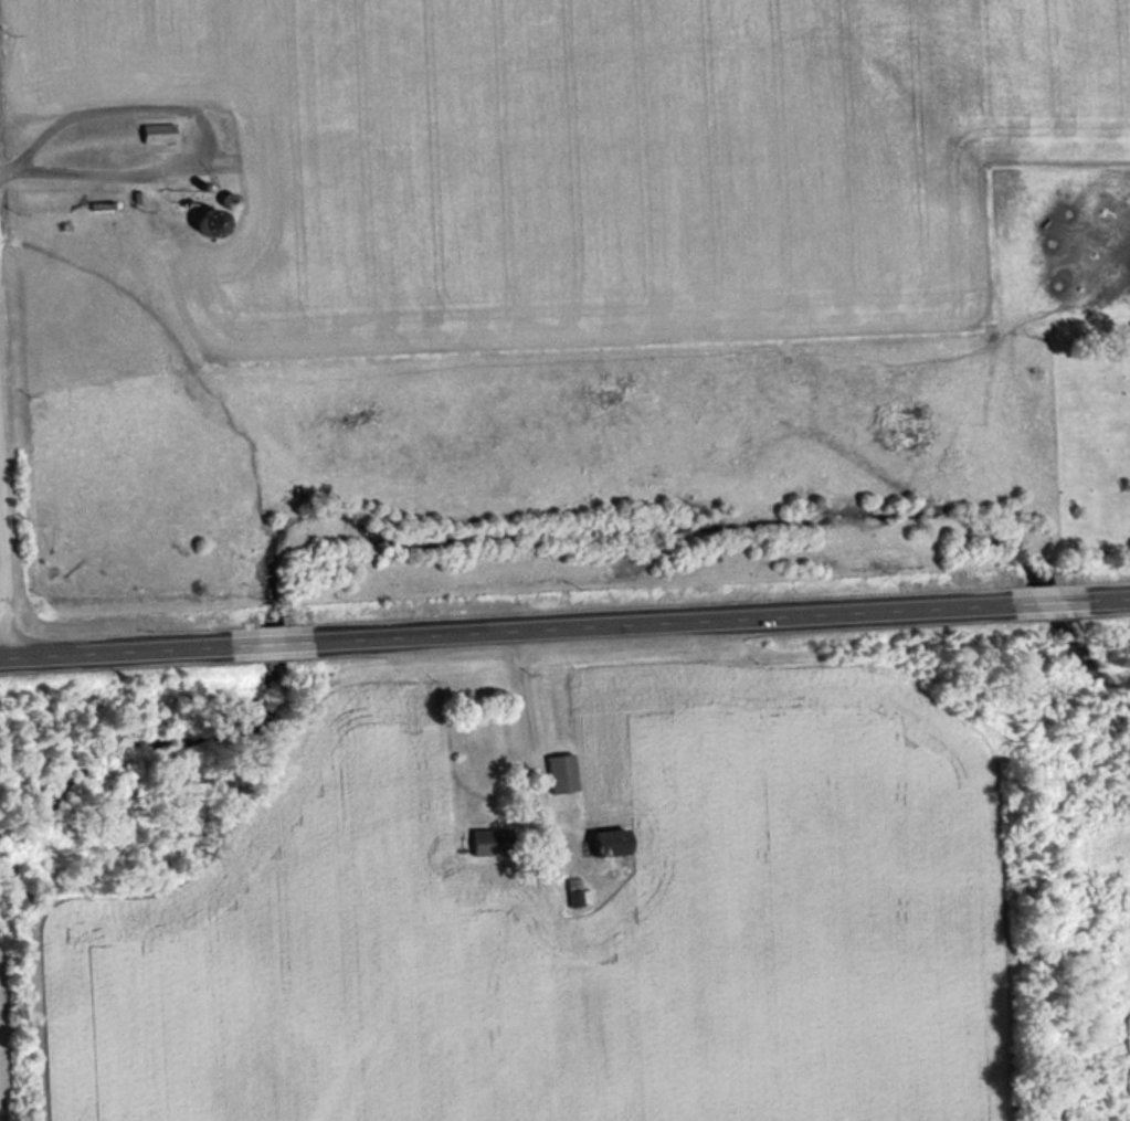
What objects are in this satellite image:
building: (49, 321)
building: (82, 369)
road: (1107, 599)
road: (1044, 602)
road: (657, 621)
road: (0, 639)
road: (266, 642)
road: (110, 648)
building: (561, 773)
building: (612, 843)
building: (573, 891)

